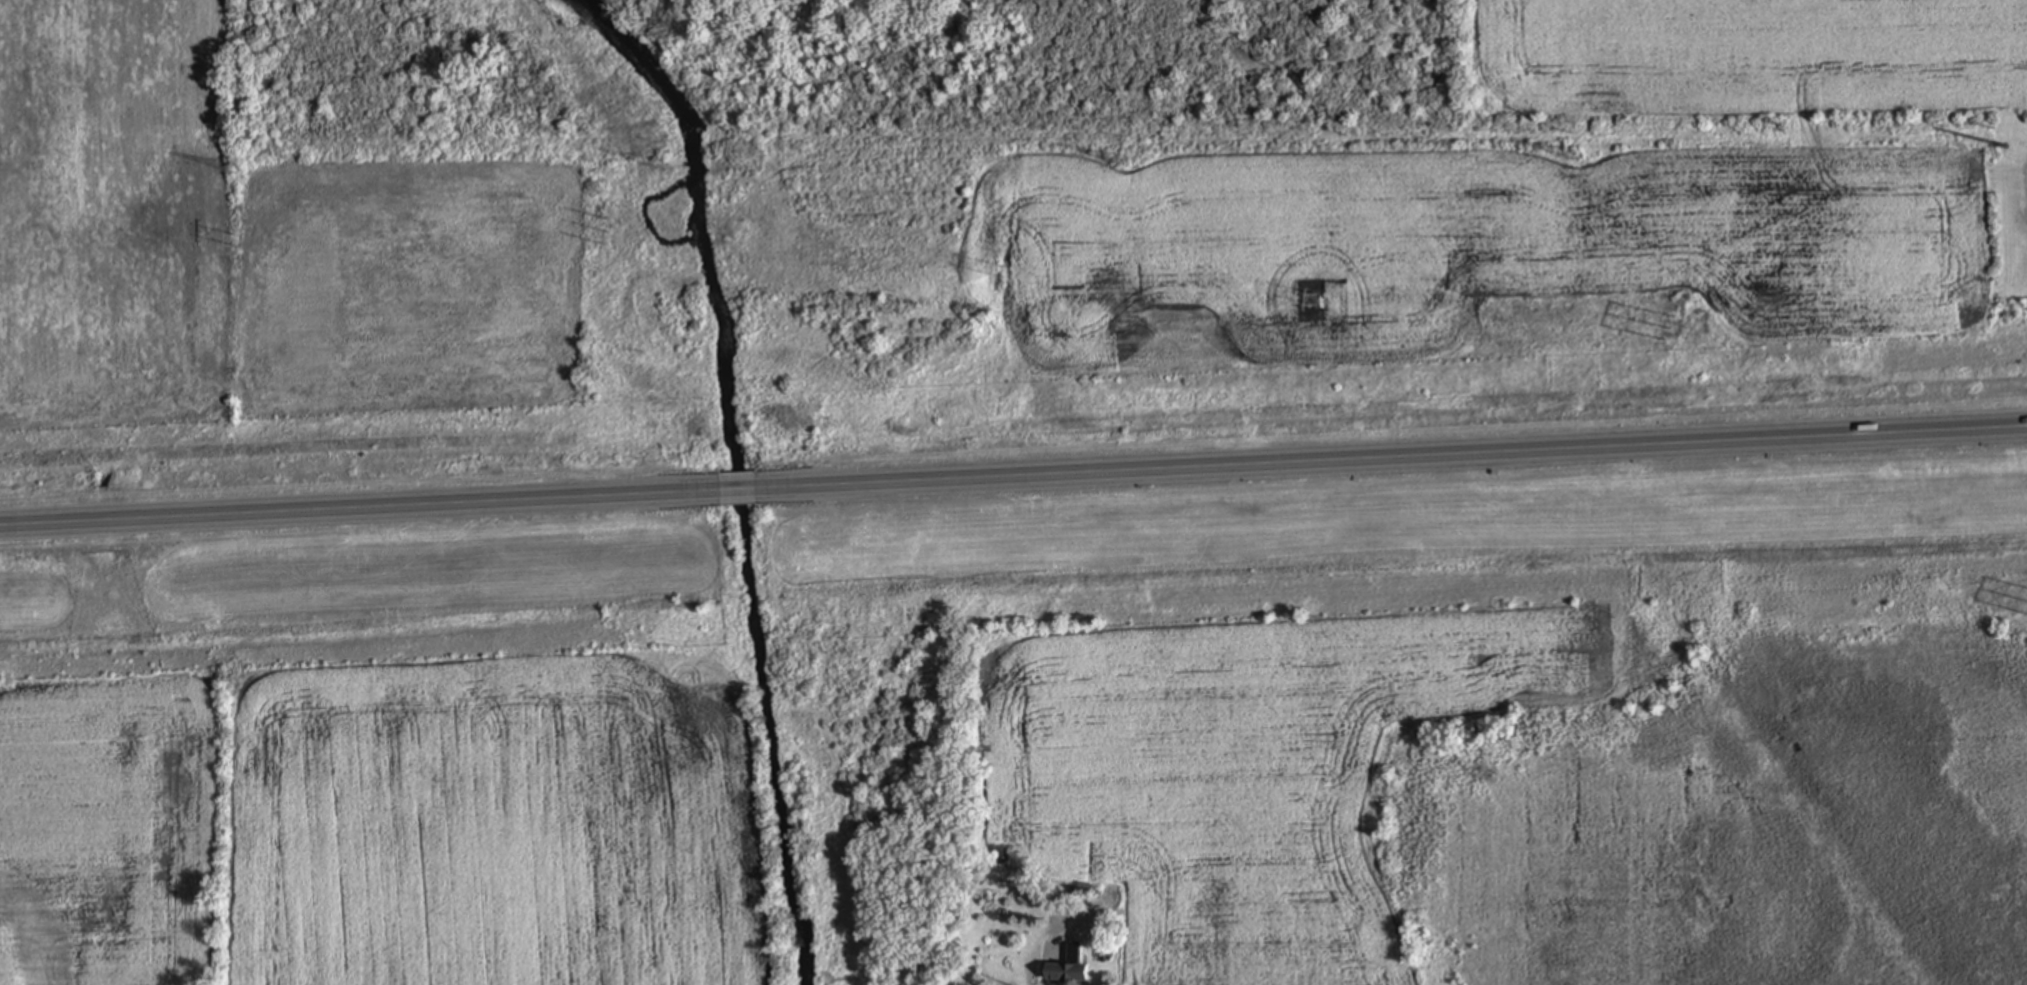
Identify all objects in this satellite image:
power tower: (2006, 148)
power tower: (1575, 155)
power tower: (1123, 161)
power tower: (659, 166)
power tower: (234, 169)
crop: (1549, 204)
power tower: (610, 234)
power tower: (234, 241)
crop: (247, 249)
power tower: (1006, 273)
power tower: (1317, 301)
power tower: (1670, 331)
road: (1390, 458)
road: (736, 491)
road: (359, 510)
road: (1044, 962)
building: (1068, 969)

